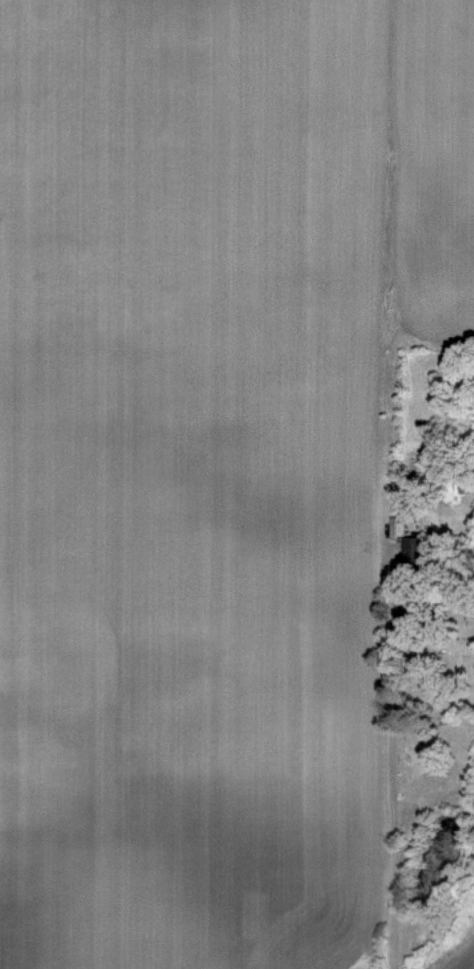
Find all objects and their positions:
building: (396, 528)
building: (414, 551)
road: (397, 753)

